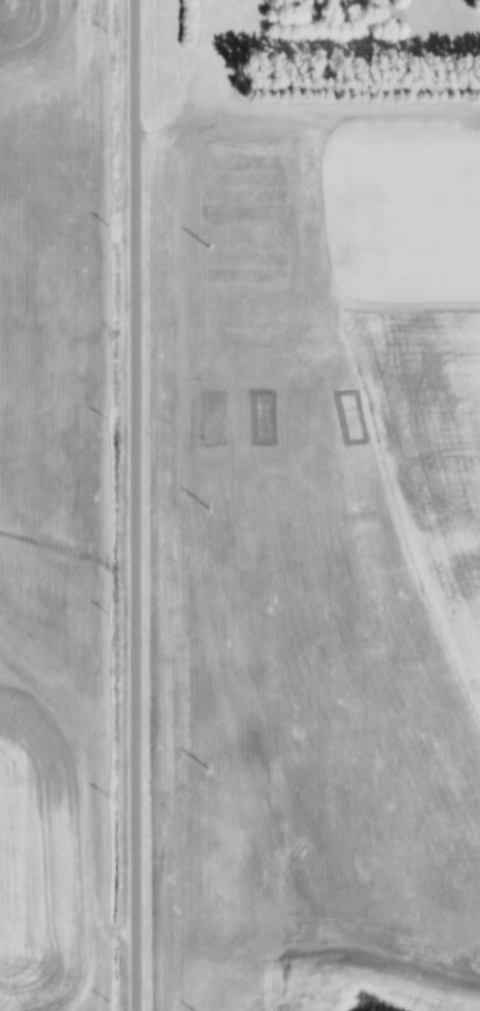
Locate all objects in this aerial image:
road: (476, 23)
road: (341, 43)
road: (202, 93)
road: (341, 108)
road: (453, 334)
road: (137, 505)

